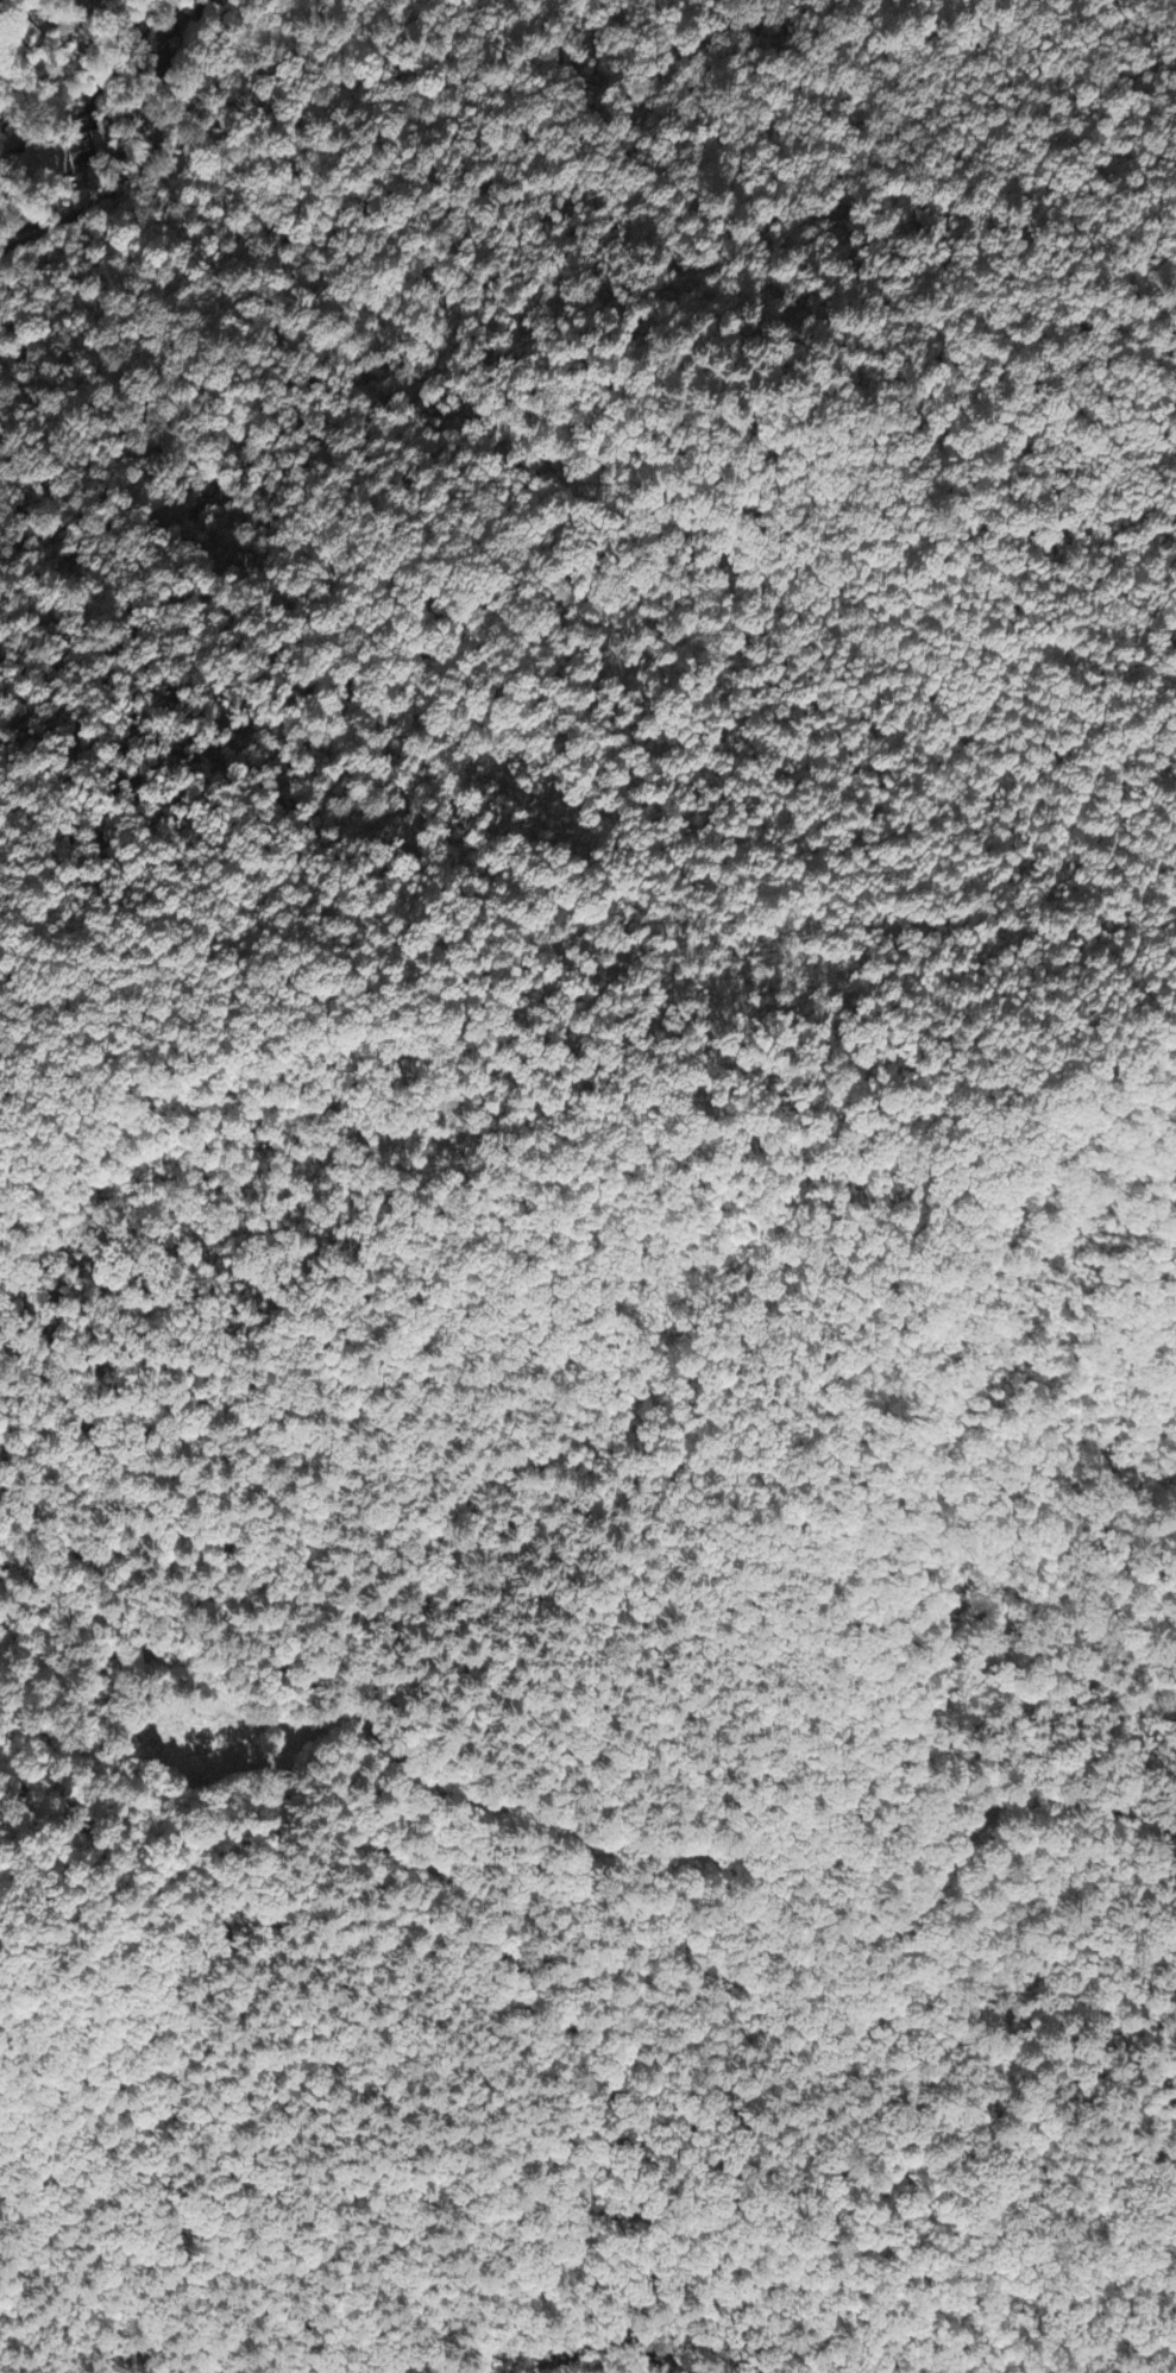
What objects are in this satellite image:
road: (288, 17)
building: (21, 33)
road: (203, 51)
building: (86, 149)
road: (107, 197)
road: (583, 1837)

